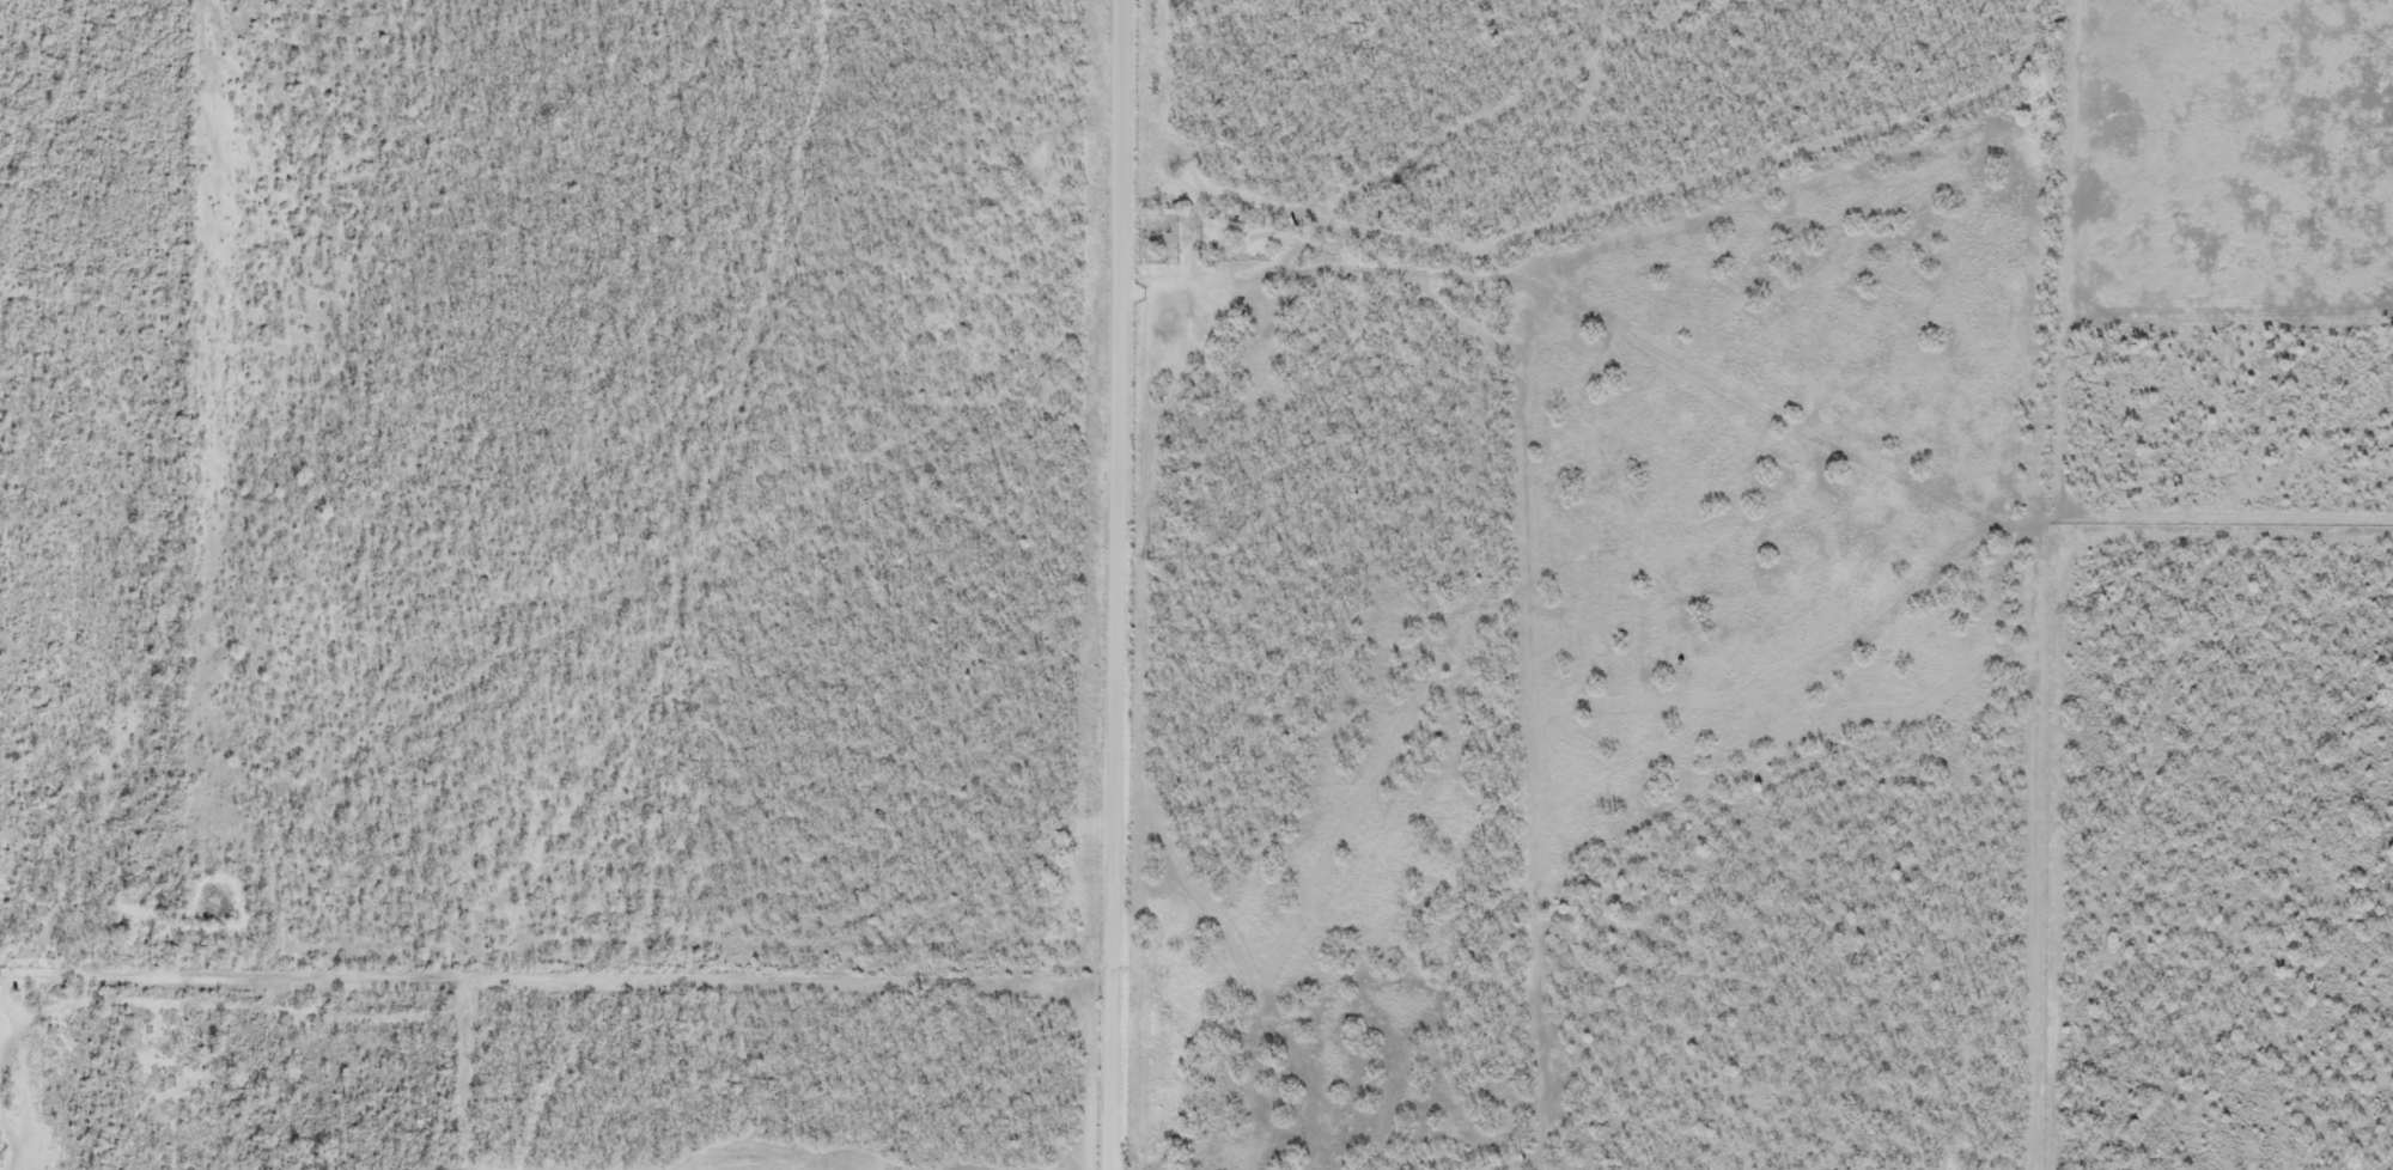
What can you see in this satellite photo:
building: (1235, 230)
road: (1116, 585)

